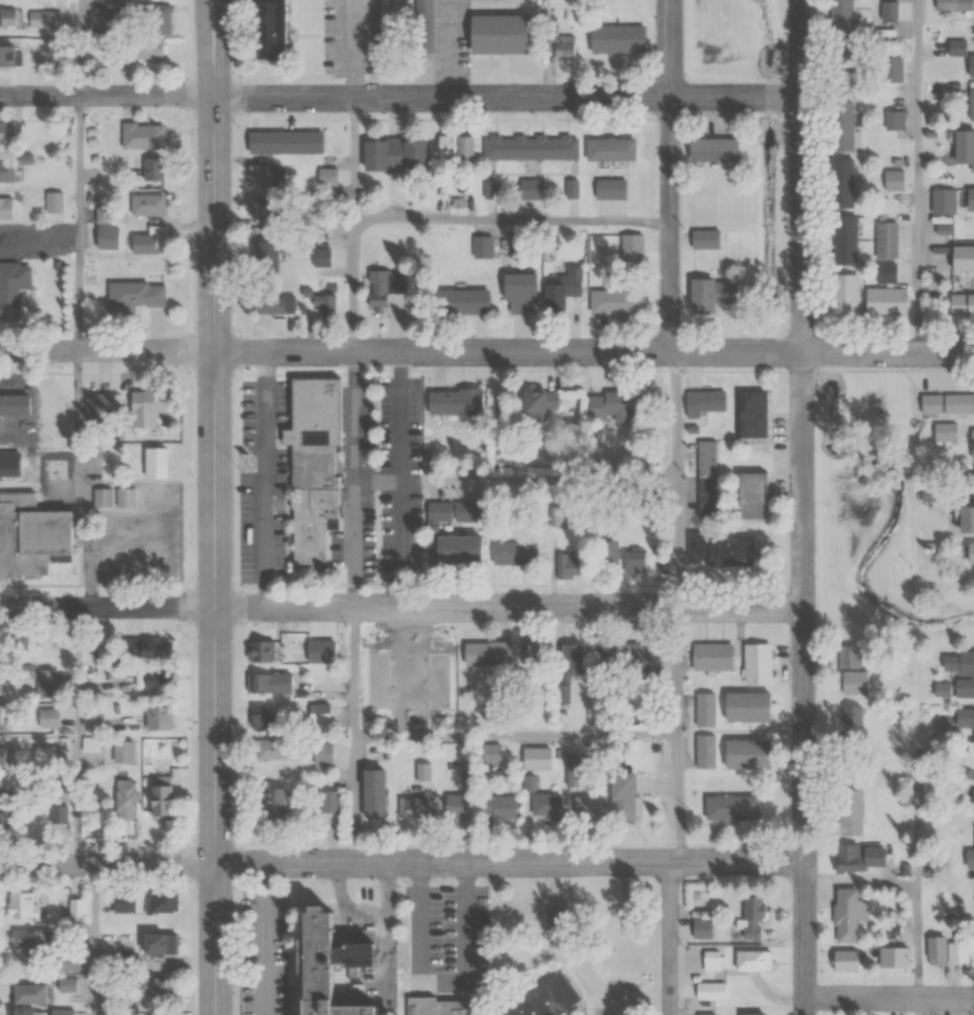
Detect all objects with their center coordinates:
building: (888, 10)
building: (841, 16)
building: (9, 17)
building: (44, 18)
building: (107, 20)
building: (154, 24)
building: (424, 25)
building: (272, 28)
building: (496, 33)
building: (615, 38)
building: (560, 43)
road: (79, 48)
building: (146, 49)
road: (354, 49)
building: (10, 55)
building: (842, 68)
building: (891, 69)
road: (400, 98)
building: (970, 104)
building: (894, 120)
building: (841, 126)
building: (142, 136)
building: (284, 143)
building: (453, 147)
building: (529, 147)
building: (607, 148)
building: (710, 148)
building: (963, 148)
building: (392, 155)
road: (354, 159)
building: (152, 169)
building: (6, 171)
building: (262, 175)
road: (670, 176)
road: (917, 176)
building: (325, 178)
building: (893, 180)
building: (842, 182)
building: (529, 188)
building: (571, 188)
building: (609, 188)
building: (489, 189)
building: (966, 198)
building: (942, 201)
building: (54, 202)
building: (147, 205)
building: (6, 207)
building: (106, 216)
road: (512, 220)
road: (79, 224)
building: (105, 238)
building: (704, 238)
building: (843, 239)
building: (885, 239)
building: (8, 240)
building: (148, 240)
building: (482, 247)
building: (631, 250)
building: (321, 257)
building: (961, 257)
building: (885, 272)
road: (354, 286)
building: (12, 288)
building: (383, 288)
building: (560, 290)
building: (516, 292)
building: (709, 294)
building: (844, 294)
building: (136, 295)
building: (615, 301)
building: (884, 301)
building: (461, 302)
building: (322, 304)
building: (270, 305)
building: (961, 305)
road: (486, 352)
building: (452, 401)
building: (536, 402)
building: (702, 402)
building: (946, 404)
building: (613, 406)
building: (144, 409)
building: (750, 414)
road: (80, 416)
building: (945, 433)
building: (971, 444)
building: (154, 463)
building: (313, 467)
road: (679, 479)
building: (705, 479)
road: (354, 480)
building: (748, 494)
building: (103, 497)
building: (126, 497)
road: (216, 507)
road: (803, 507)
building: (456, 511)
building: (964, 520)
building: (27, 542)
road: (89, 543)
building: (450, 549)
building: (716, 550)
building: (513, 553)
building: (607, 553)
building: (633, 561)
building: (969, 563)
building: (568, 567)
road: (401, 607)
building: (140, 649)
building: (261, 651)
building: (484, 653)
building: (633, 654)
building: (711, 656)
building: (849, 656)
building: (402, 664)
building: (755, 664)
building: (565, 669)
road: (680, 671)
road: (355, 672)
building: (964, 674)
building: (1, 679)
building: (38, 679)
building: (149, 681)
building: (852, 683)
building: (268, 684)
building: (744, 706)
building: (704, 709)
building: (260, 716)
building: (850, 717)
building: (47, 718)
building: (150, 719)
building: (973, 732)
road: (79, 735)
road: (518, 736)
building: (268, 749)
building: (2, 751)
building: (704, 751)
building: (122, 752)
building: (321, 753)
building: (744, 754)
building: (43, 755)
building: (535, 758)
building: (571, 768)
building: (418, 770)
building: (972, 790)
building: (619, 796)
road: (679, 798)
building: (125, 799)
road: (356, 800)
building: (159, 802)
building: (273, 805)
building: (542, 805)
building: (454, 806)
building: (412, 807)
building: (497, 807)
building: (729, 807)
building: (4, 808)
building: (590, 808)
building: (849, 812)
building: (60, 817)
building: (855, 857)
road: (402, 862)
building: (969, 864)
road: (918, 888)
building: (143, 903)
building: (22, 904)
building: (77, 909)
building: (844, 915)
building: (751, 919)
building: (701, 928)
parking lot: (451, 935)
road: (669, 938)
road: (96, 939)
building: (28, 940)
building: (149, 944)
building: (946, 950)
parking lot: (266, 953)
building: (752, 959)
building: (712, 960)
building: (844, 960)
building: (320, 961)
building: (68, 962)
building: (66, 985)
building: (151, 987)
building: (709, 991)
building: (26, 994)
building: (541, 999)
road: (889, 999)
building: (435, 1006)
road: (919, 1007)
building: (59, 1012)
building: (705, 1014)
building: (751, 1014)

